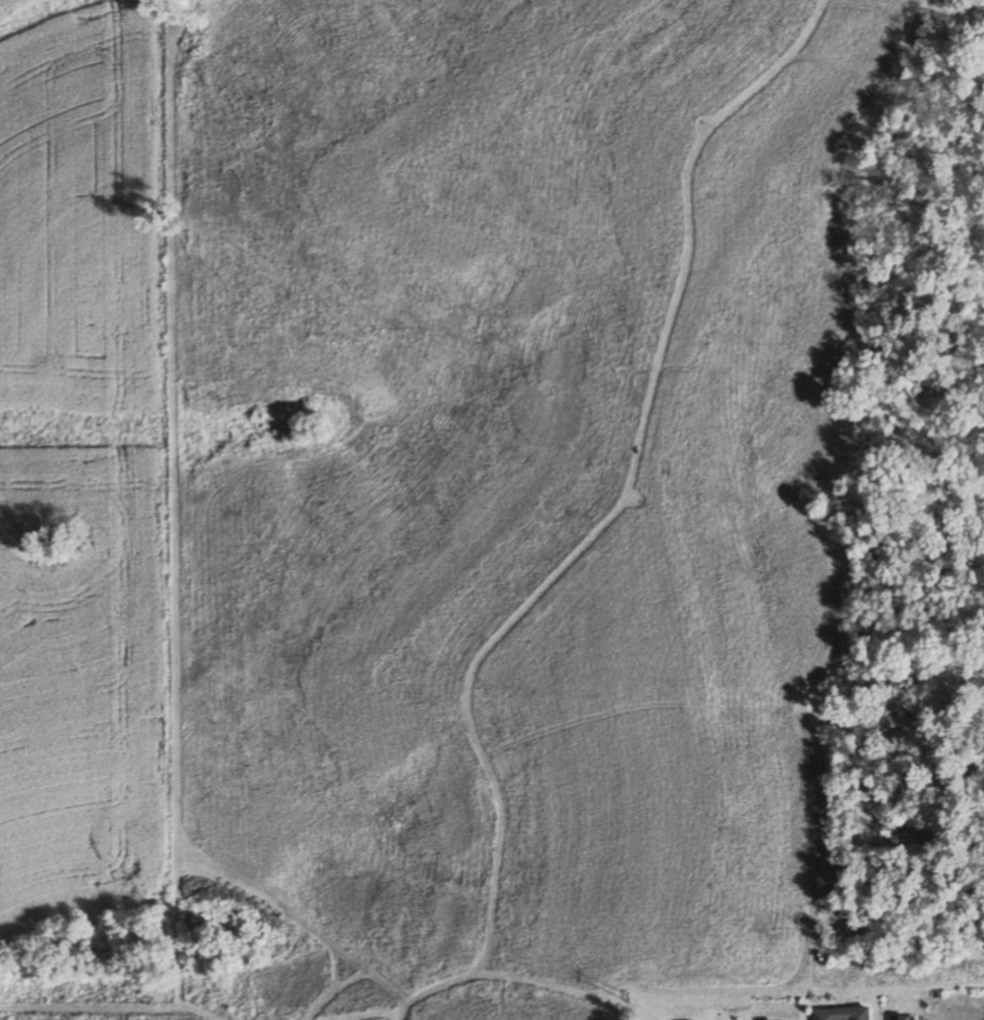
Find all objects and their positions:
crop: (80, 457)
building: (843, 1014)
building: (900, 1018)

